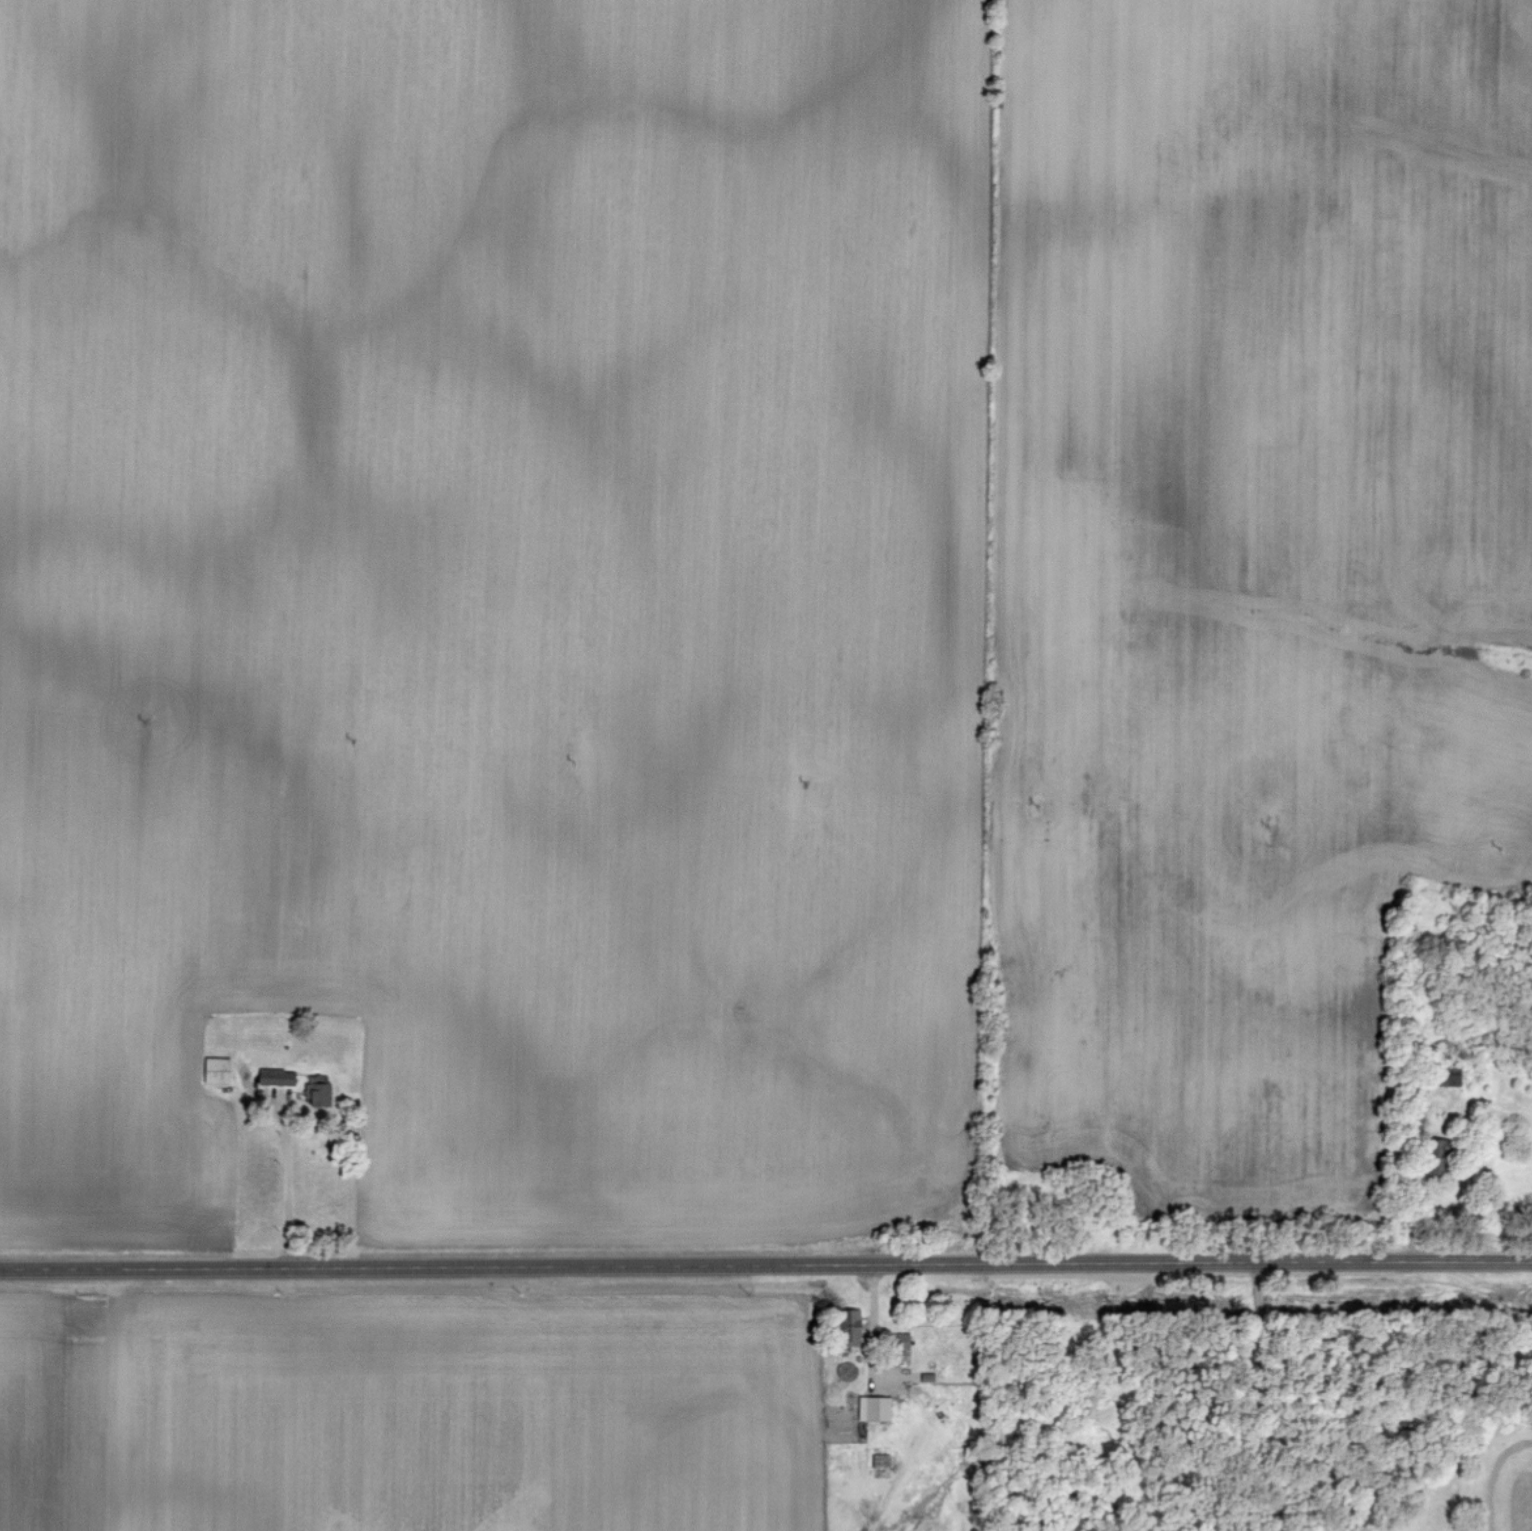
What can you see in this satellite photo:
road: (766, 1266)
building: (857, 1324)
building: (875, 1408)

